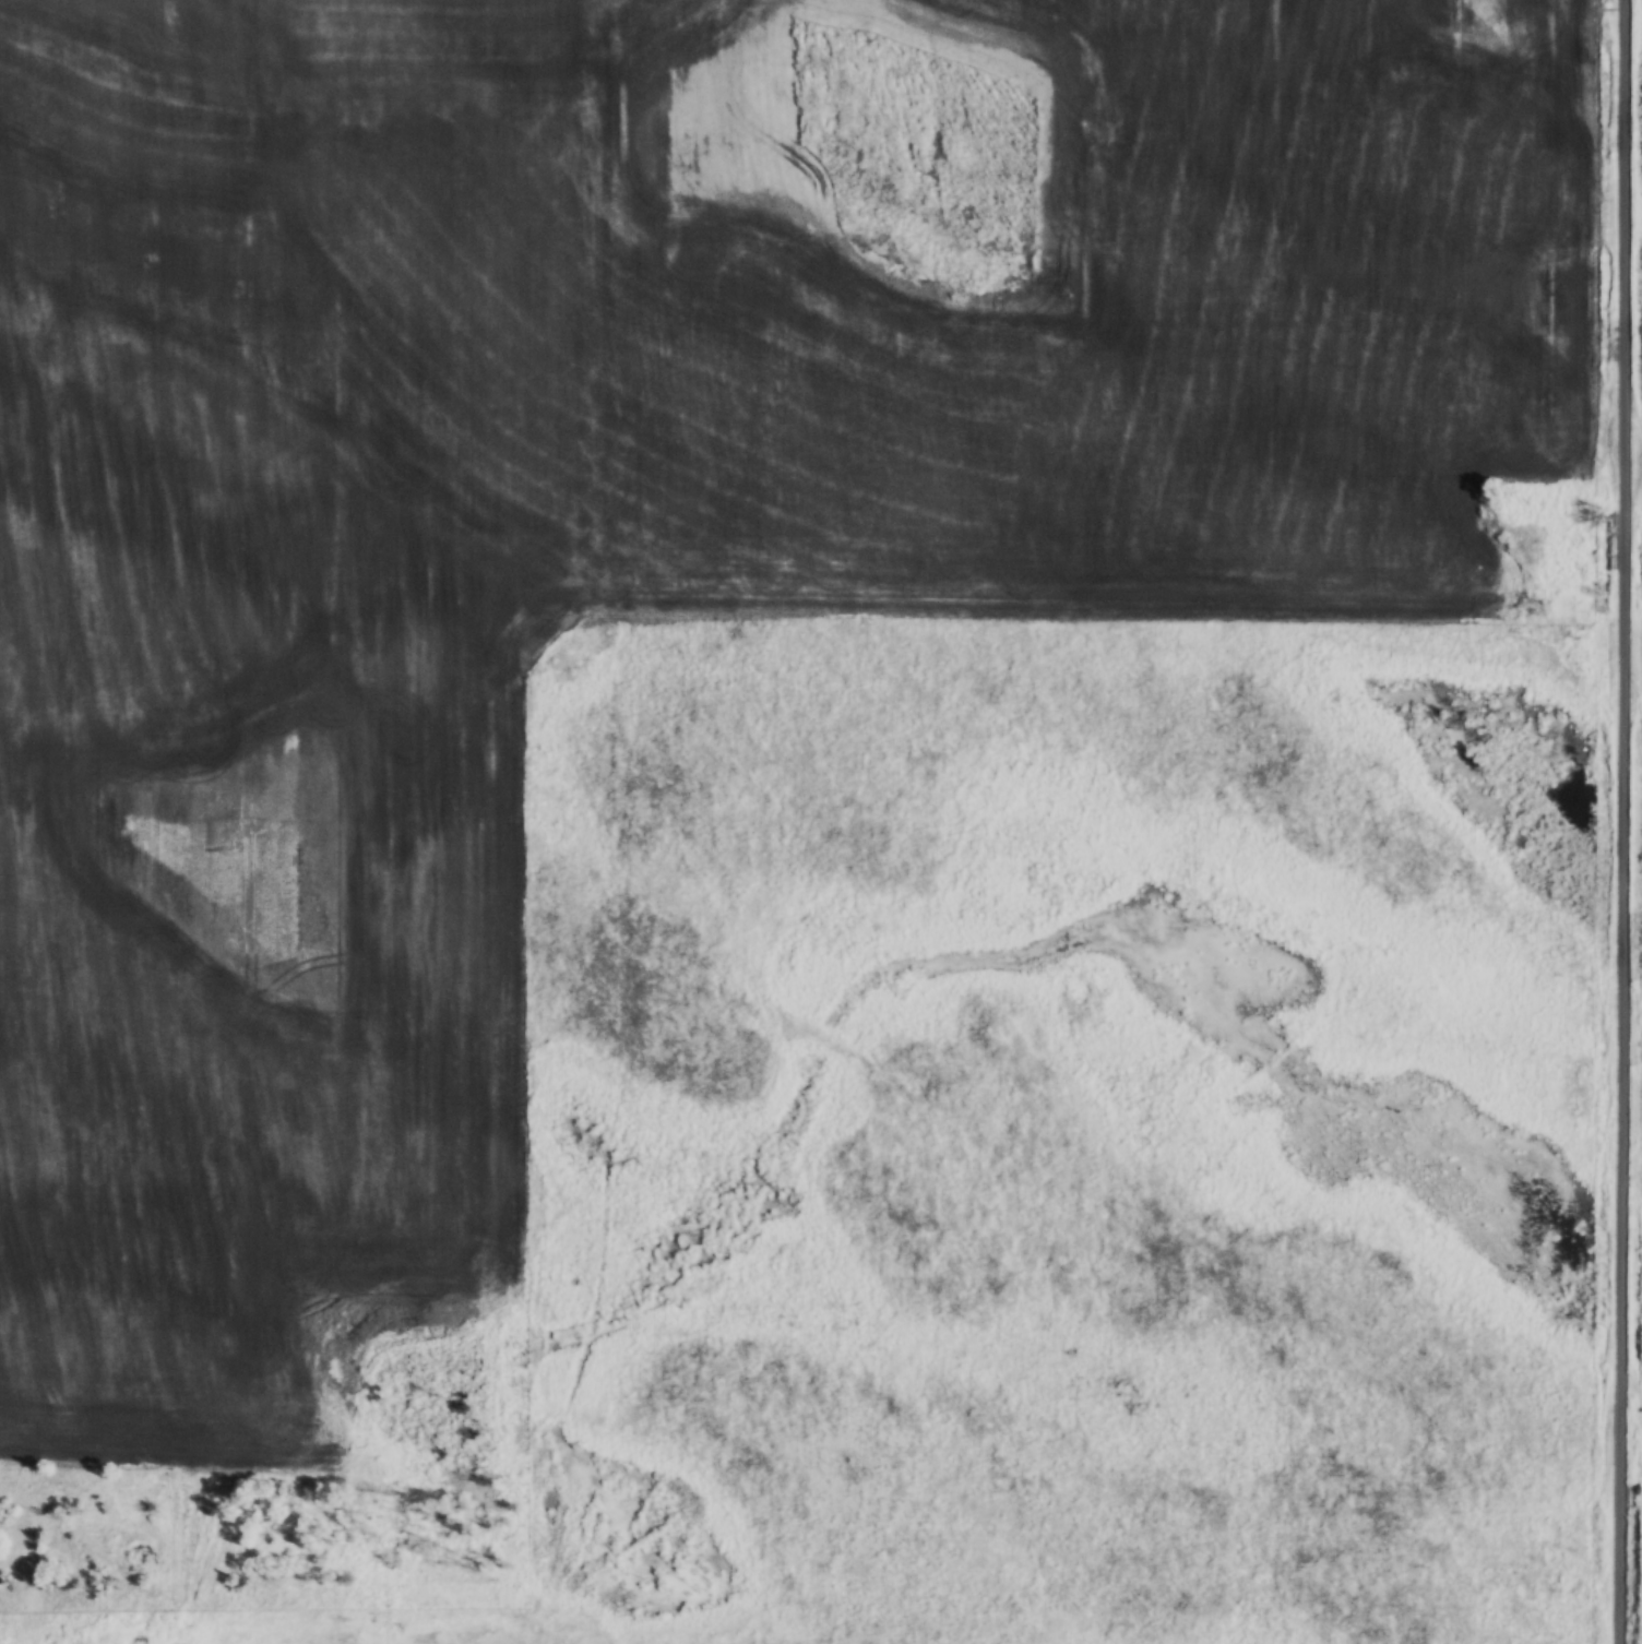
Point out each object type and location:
crop: (621, 522)
road: (1619, 822)

